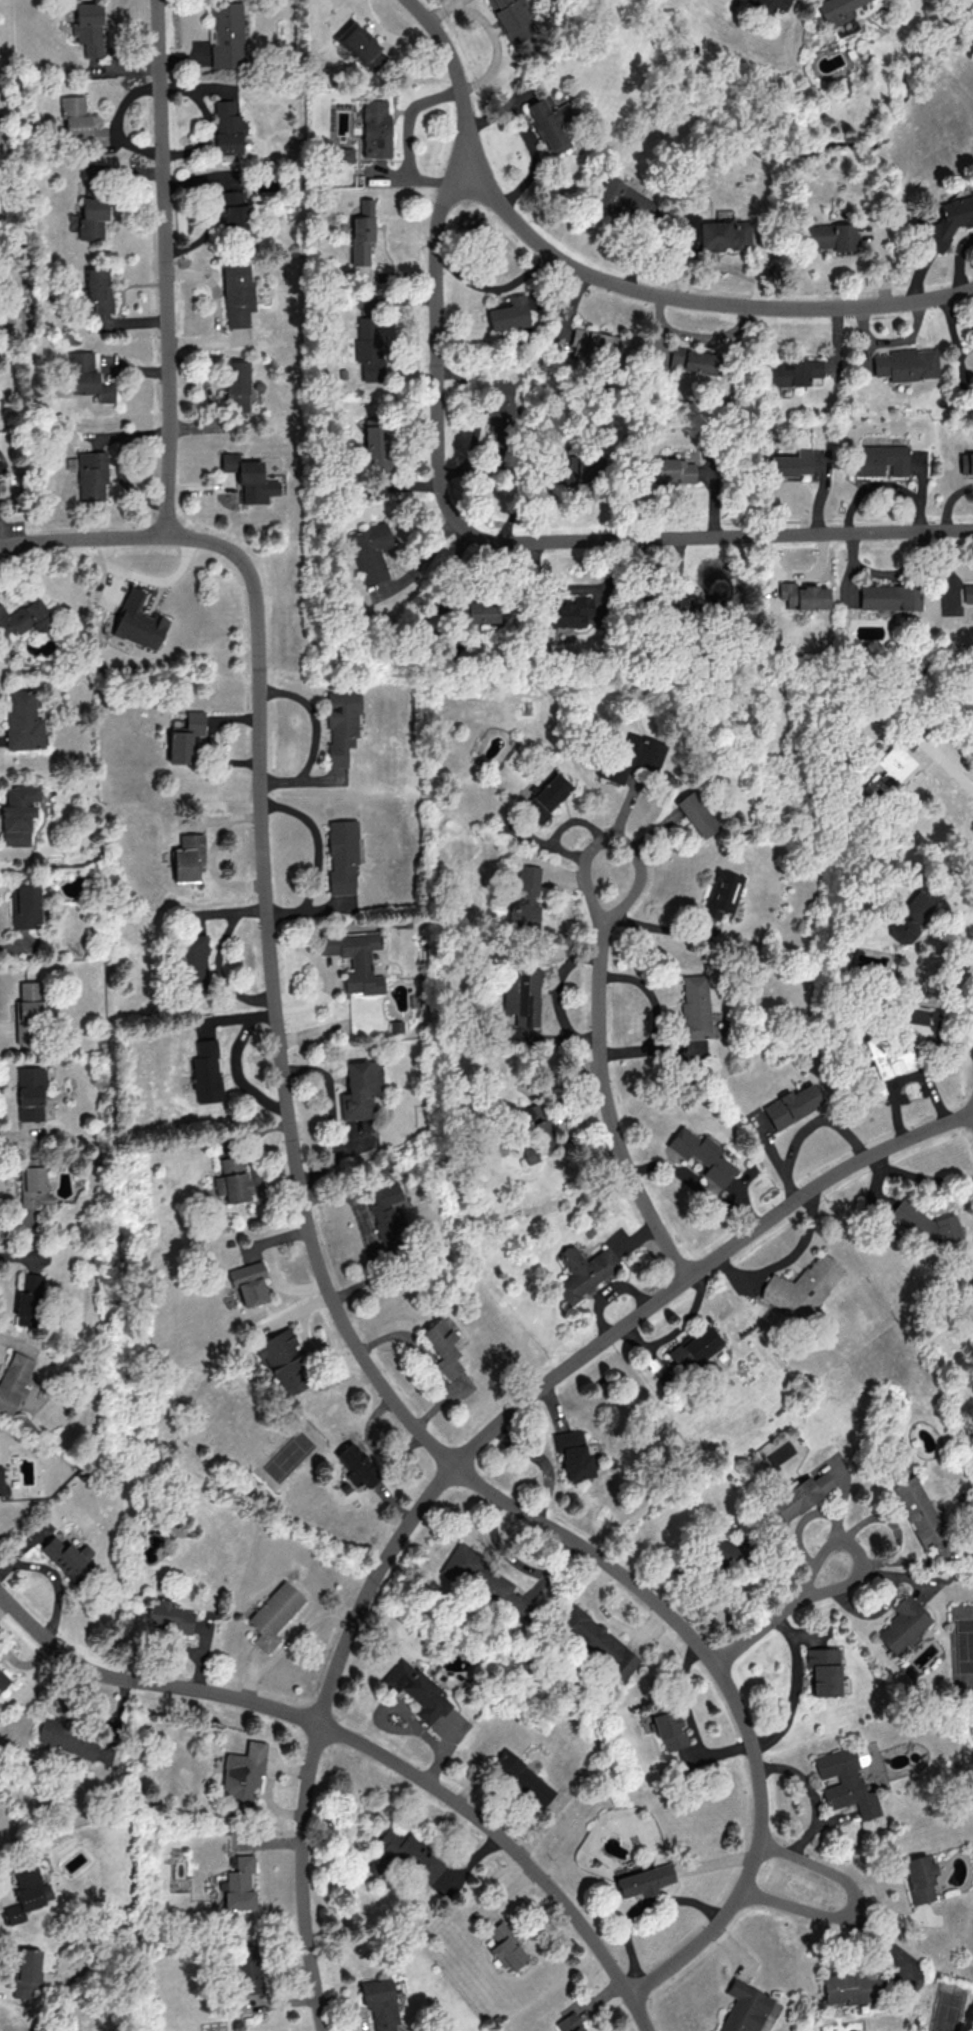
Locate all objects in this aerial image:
building: (836, 12)
building: (512, 20)
building: (88, 28)
building: (226, 34)
building: (361, 46)
building: (81, 120)
building: (550, 121)
building: (227, 127)
building: (375, 129)
building: (343, 153)
building: (623, 200)
building: (233, 209)
building: (93, 217)
building: (946, 222)
building: (362, 232)
building: (716, 233)
building: (830, 236)
road: (162, 267)
road: (610, 282)
building: (98, 288)
building: (237, 294)
building: (509, 313)
building: (594, 344)
building: (368, 348)
building: (693, 360)
building: (906, 364)
building: (792, 371)
building: (88, 377)
building: (236, 385)
building: (499, 402)
building: (375, 440)
building: (881, 459)
building: (790, 463)
building: (969, 463)
building: (579, 469)
building: (668, 470)
building: (92, 475)
building: (248, 477)
road: (514, 540)
building: (369, 551)
road: (888, 575)
building: (968, 593)
building: (802, 595)
building: (889, 596)
building: (677, 604)
building: (485, 610)
building: (567, 612)
building: (24, 620)
building: (138, 621)
building: (23, 721)
building: (340, 724)
building: (184, 737)
building: (631, 757)
building: (894, 763)
road: (946, 763)
building: (545, 797)
building: (17, 814)
building: (697, 814)
road: (614, 839)
building: (187, 857)
building: (341, 857)
road: (317, 858)
building: (722, 893)
building: (524, 899)
building: (24, 904)
building: (913, 912)
building: (354, 959)
building: (191, 963)
building: (521, 995)
building: (694, 1006)
building: (29, 1013)
building: (887, 1058)
building: (205, 1071)
building: (360, 1088)
building: (30, 1093)
building: (792, 1105)
road: (610, 1106)
building: (538, 1129)
building: (702, 1154)
road: (920, 1177)
building: (232, 1180)
building: (33, 1186)
building: (385, 1213)
building: (927, 1228)
road: (364, 1231)
road: (317, 1267)
building: (583, 1271)
building: (248, 1282)
building: (802, 1287)
building: (26, 1298)
road: (306, 1341)
building: (442, 1347)
building: (694, 1348)
building: (283, 1361)
road: (427, 1361)
building: (13, 1380)
road: (372, 1445)
road: (462, 1455)
building: (573, 1455)
building: (356, 1465)
building: (1, 1480)
building: (801, 1494)
building: (919, 1510)
building: (67, 1557)
building: (485, 1581)
building: (273, 1614)
road: (774, 1615)
building: (168, 1617)
building: (902, 1624)
road: (290, 1638)
building: (598, 1641)
building: (823, 1670)
building: (3, 1680)
road: (792, 1688)
building: (417, 1690)
road: (691, 1721)
building: (668, 1729)
building: (66, 1737)
road: (366, 1746)
building: (243, 1773)
building: (522, 1778)
building: (845, 1782)
building: (401, 1856)
building: (920, 1878)
building: (645, 1879)
building: (240, 1884)
building: (27, 1892)
road: (853, 1904)
road: (637, 1910)
building: (506, 1946)
building: (26, 1972)
building: (248, 1974)
building: (849, 1987)
building: (380, 2005)
building: (745, 2007)
building: (569, 2023)

